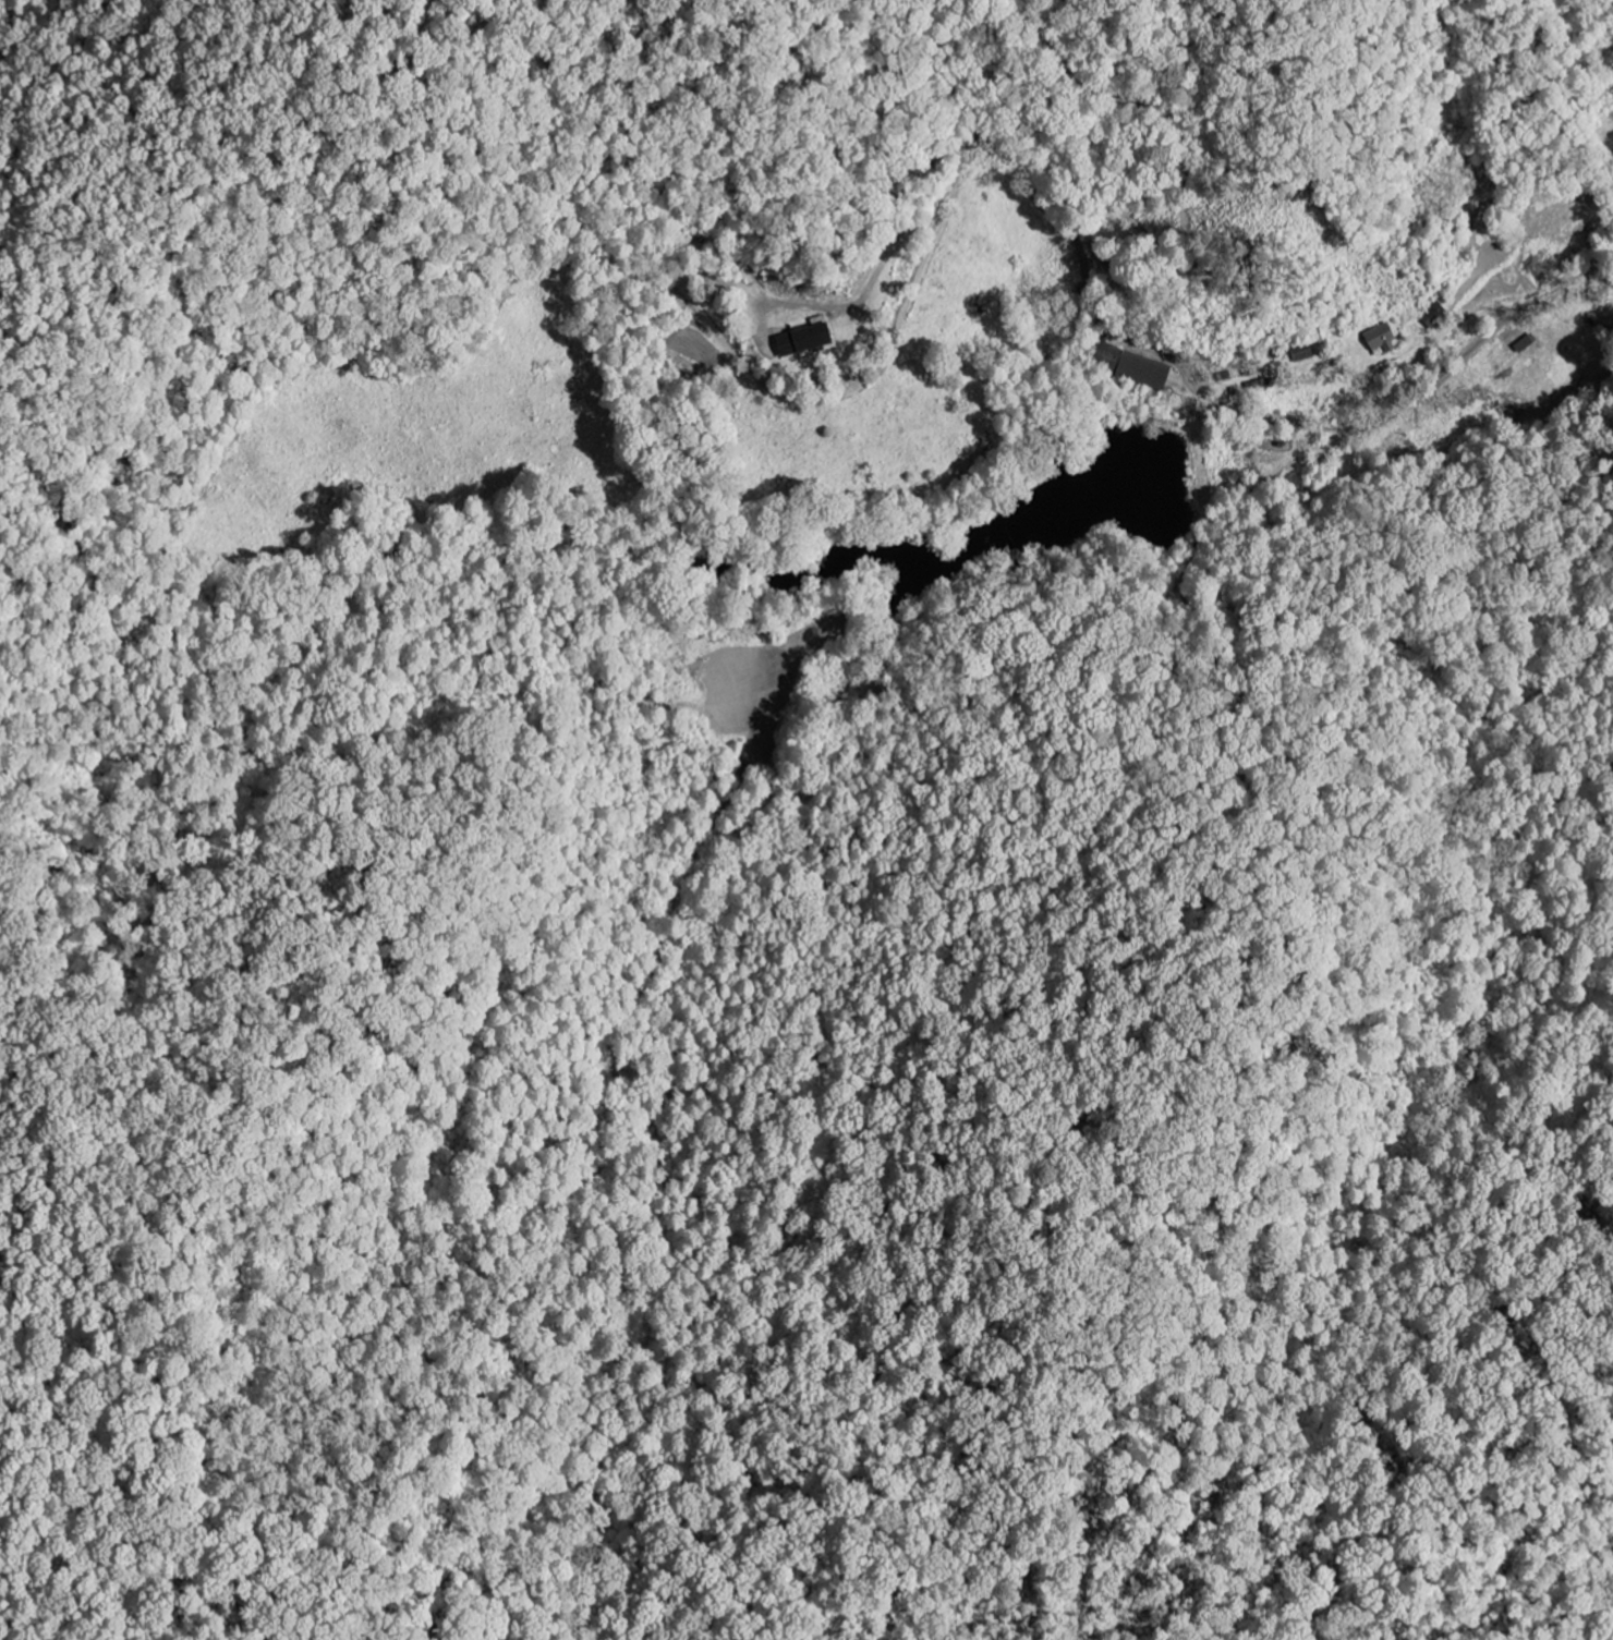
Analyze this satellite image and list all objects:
road: (966, 68)
building: (1381, 340)
building: (804, 341)
building: (1302, 353)
road: (1171, 360)
building: (1130, 366)

